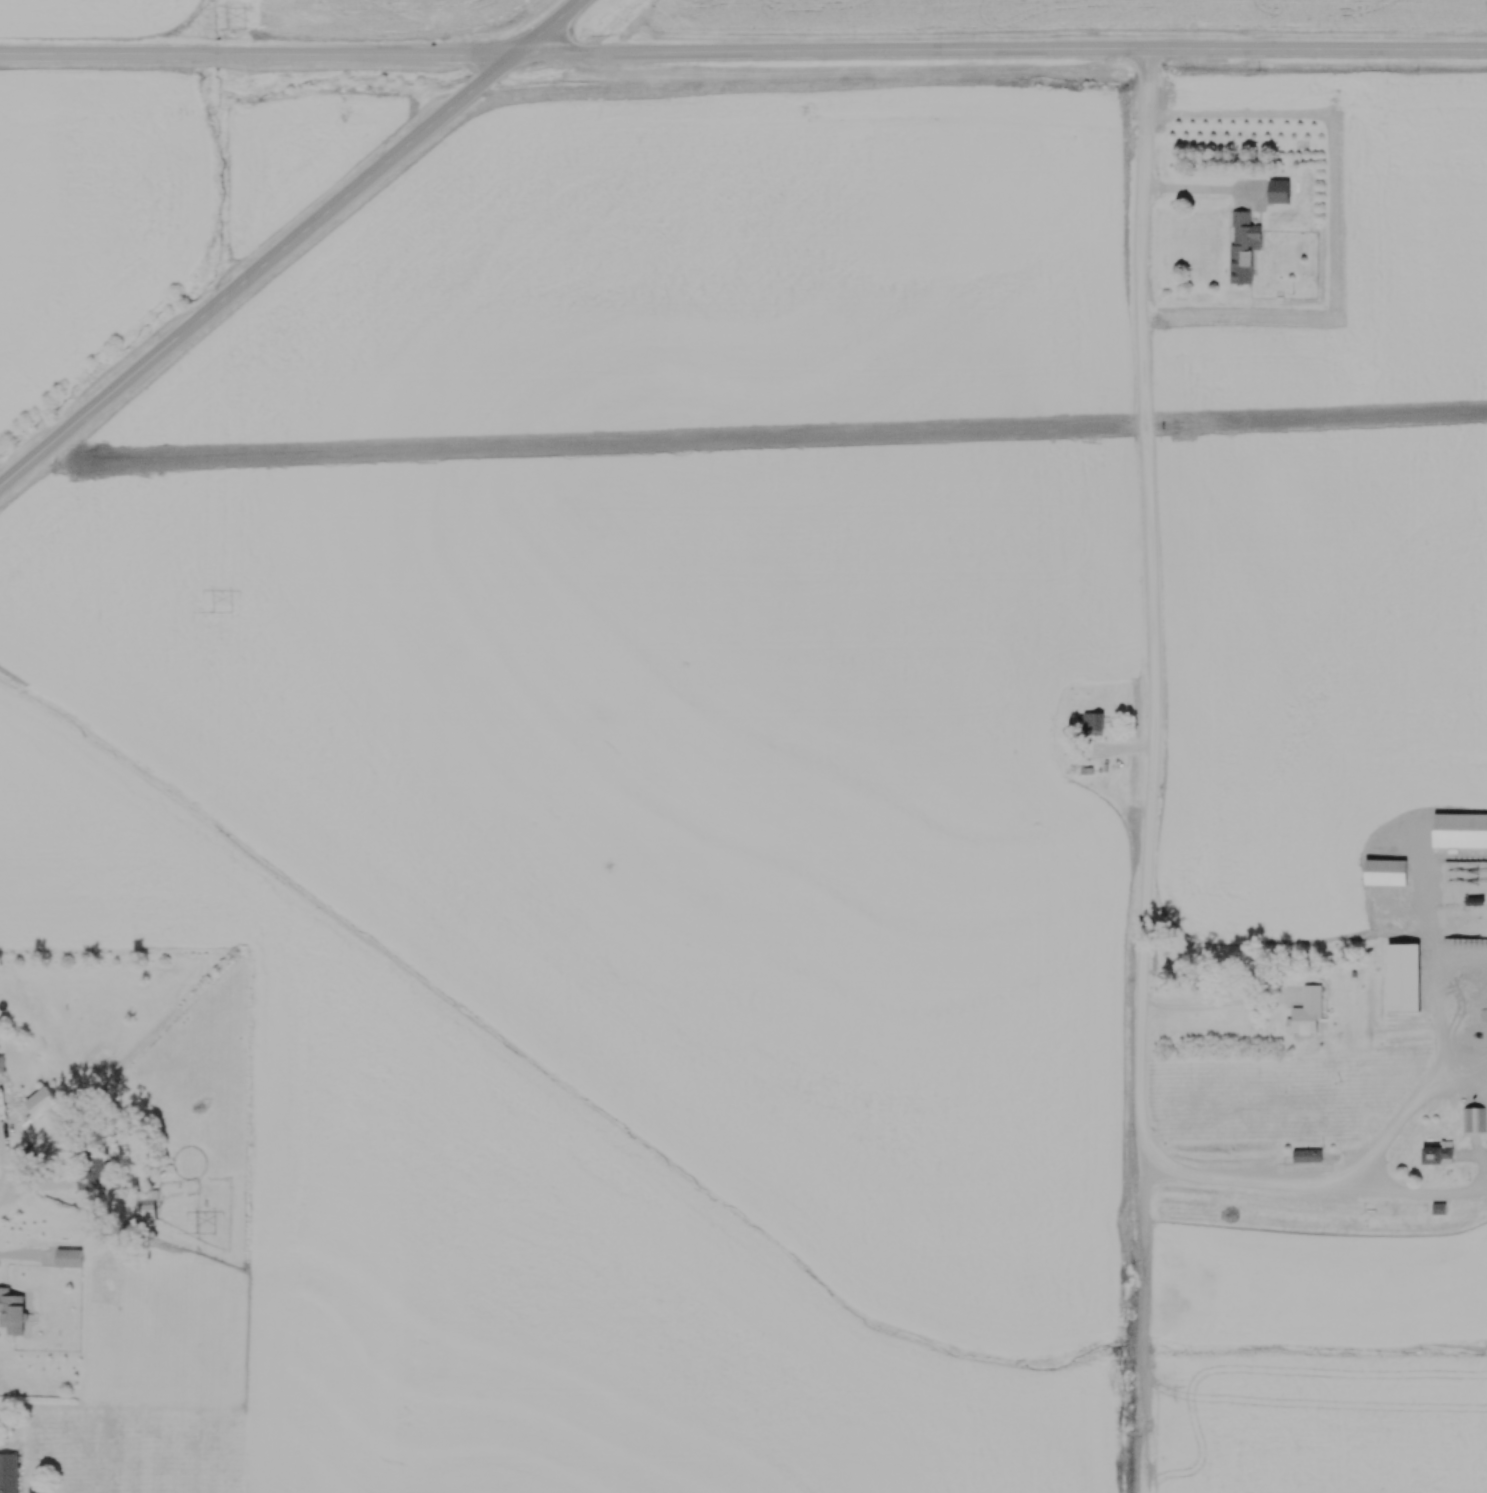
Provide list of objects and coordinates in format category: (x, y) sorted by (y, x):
power tower: (239, 27)
road: (743, 54)
building: (1283, 193)
road: (1197, 194)
road: (290, 244)
building: (1246, 249)
road: (1153, 611)
power tower: (224, 614)
building: (1097, 725)
building: (1462, 832)
building: (1391, 874)
building: (1407, 980)
road: (1216, 1008)
road: (1440, 1012)
building: (1309, 1014)
building: (3, 1064)
building: (46, 1103)
building: (1474, 1121)
road: (6, 1148)
building: (1442, 1155)
building: (1311, 1157)
road: (1352, 1178)
road: (1240, 1183)
road: (8, 1189)
power tower: (208, 1232)
building: (71, 1259)
building: (15, 1312)
building: (9, 1473)

